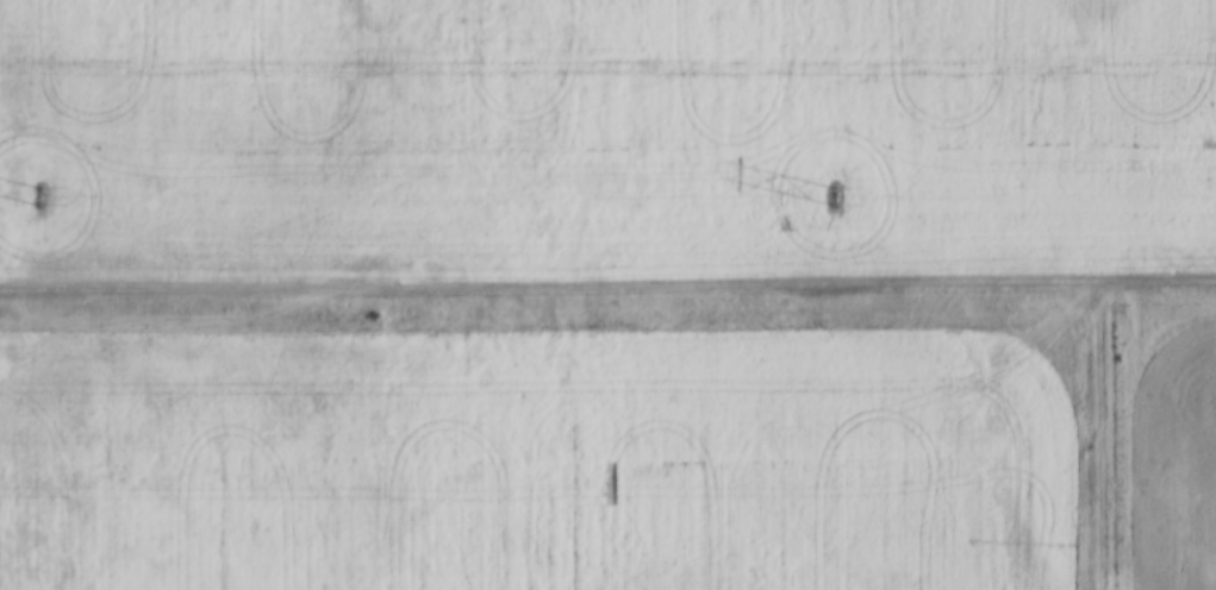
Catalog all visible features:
power tower: (33, 190)
power tower: (831, 193)
road: (607, 282)

